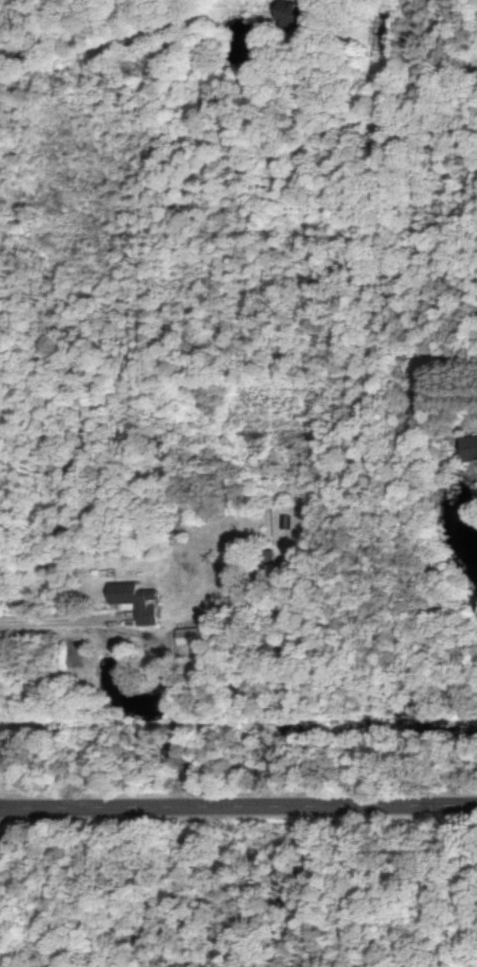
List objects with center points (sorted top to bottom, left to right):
building: (284, 12)
building: (468, 447)
building: (130, 600)
road: (54, 613)
building: (185, 636)
road: (238, 805)

